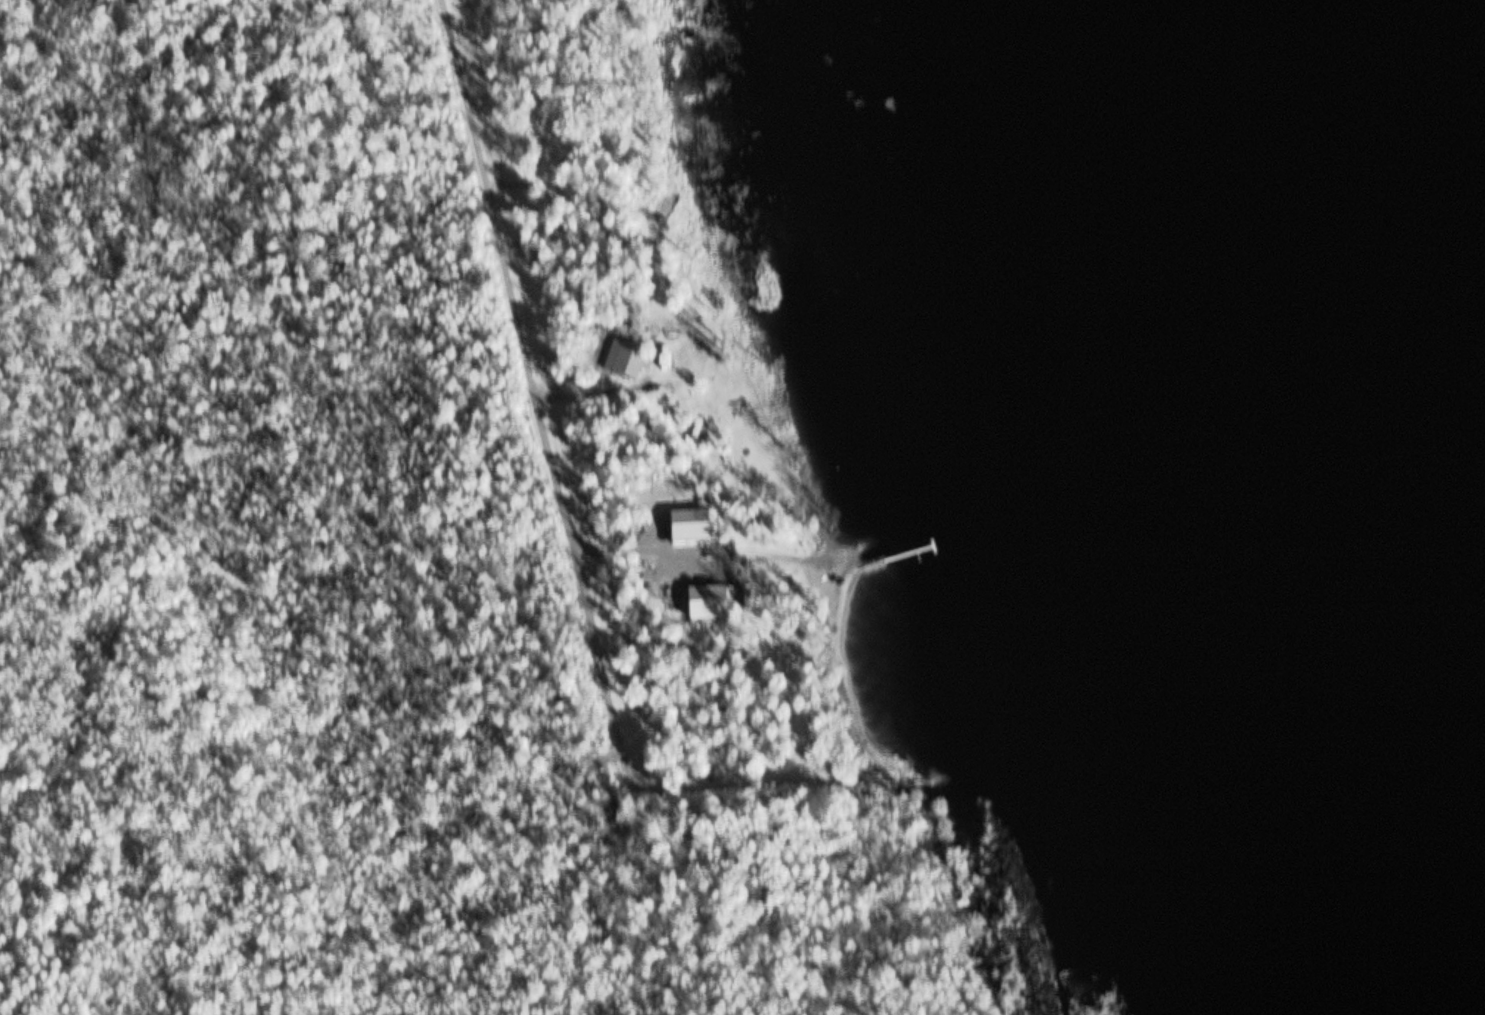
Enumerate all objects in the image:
building: (697, 527)
building: (714, 604)

